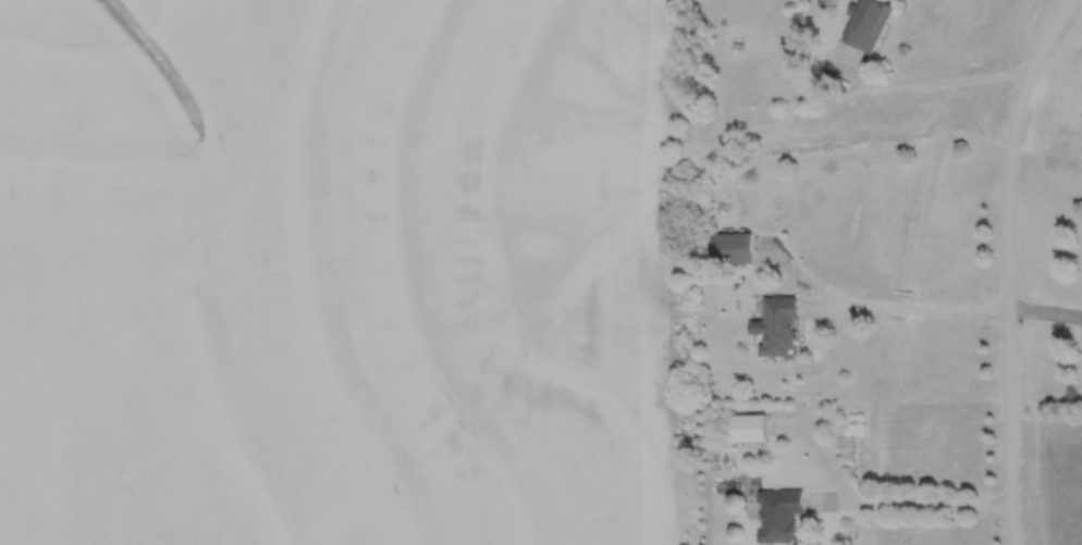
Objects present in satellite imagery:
building: (868, 22)
road: (925, 82)
road: (1008, 246)
building: (730, 247)
crop: (339, 272)
road: (802, 274)
road: (943, 307)
building: (775, 325)
building: (748, 425)
road: (823, 447)
road: (909, 503)
building: (779, 512)
road: (1012, 524)

